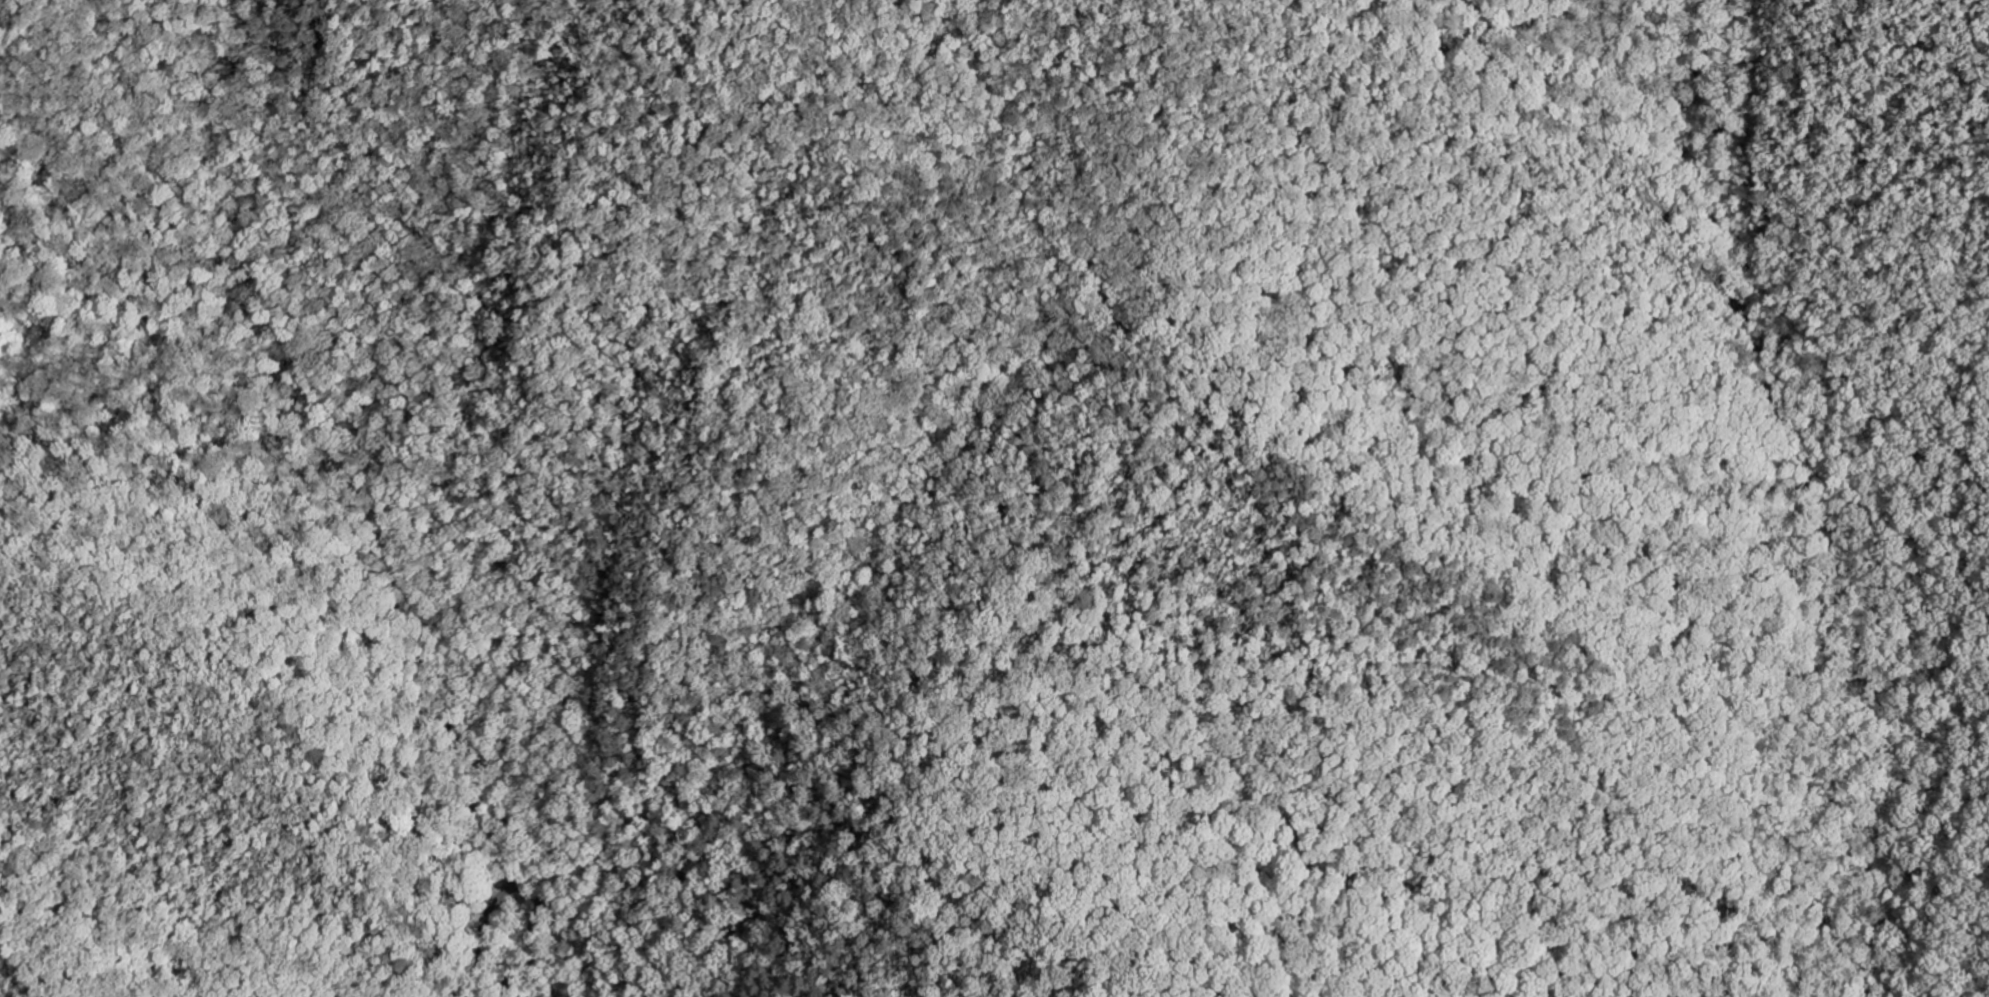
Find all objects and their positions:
road: (520, 886)

